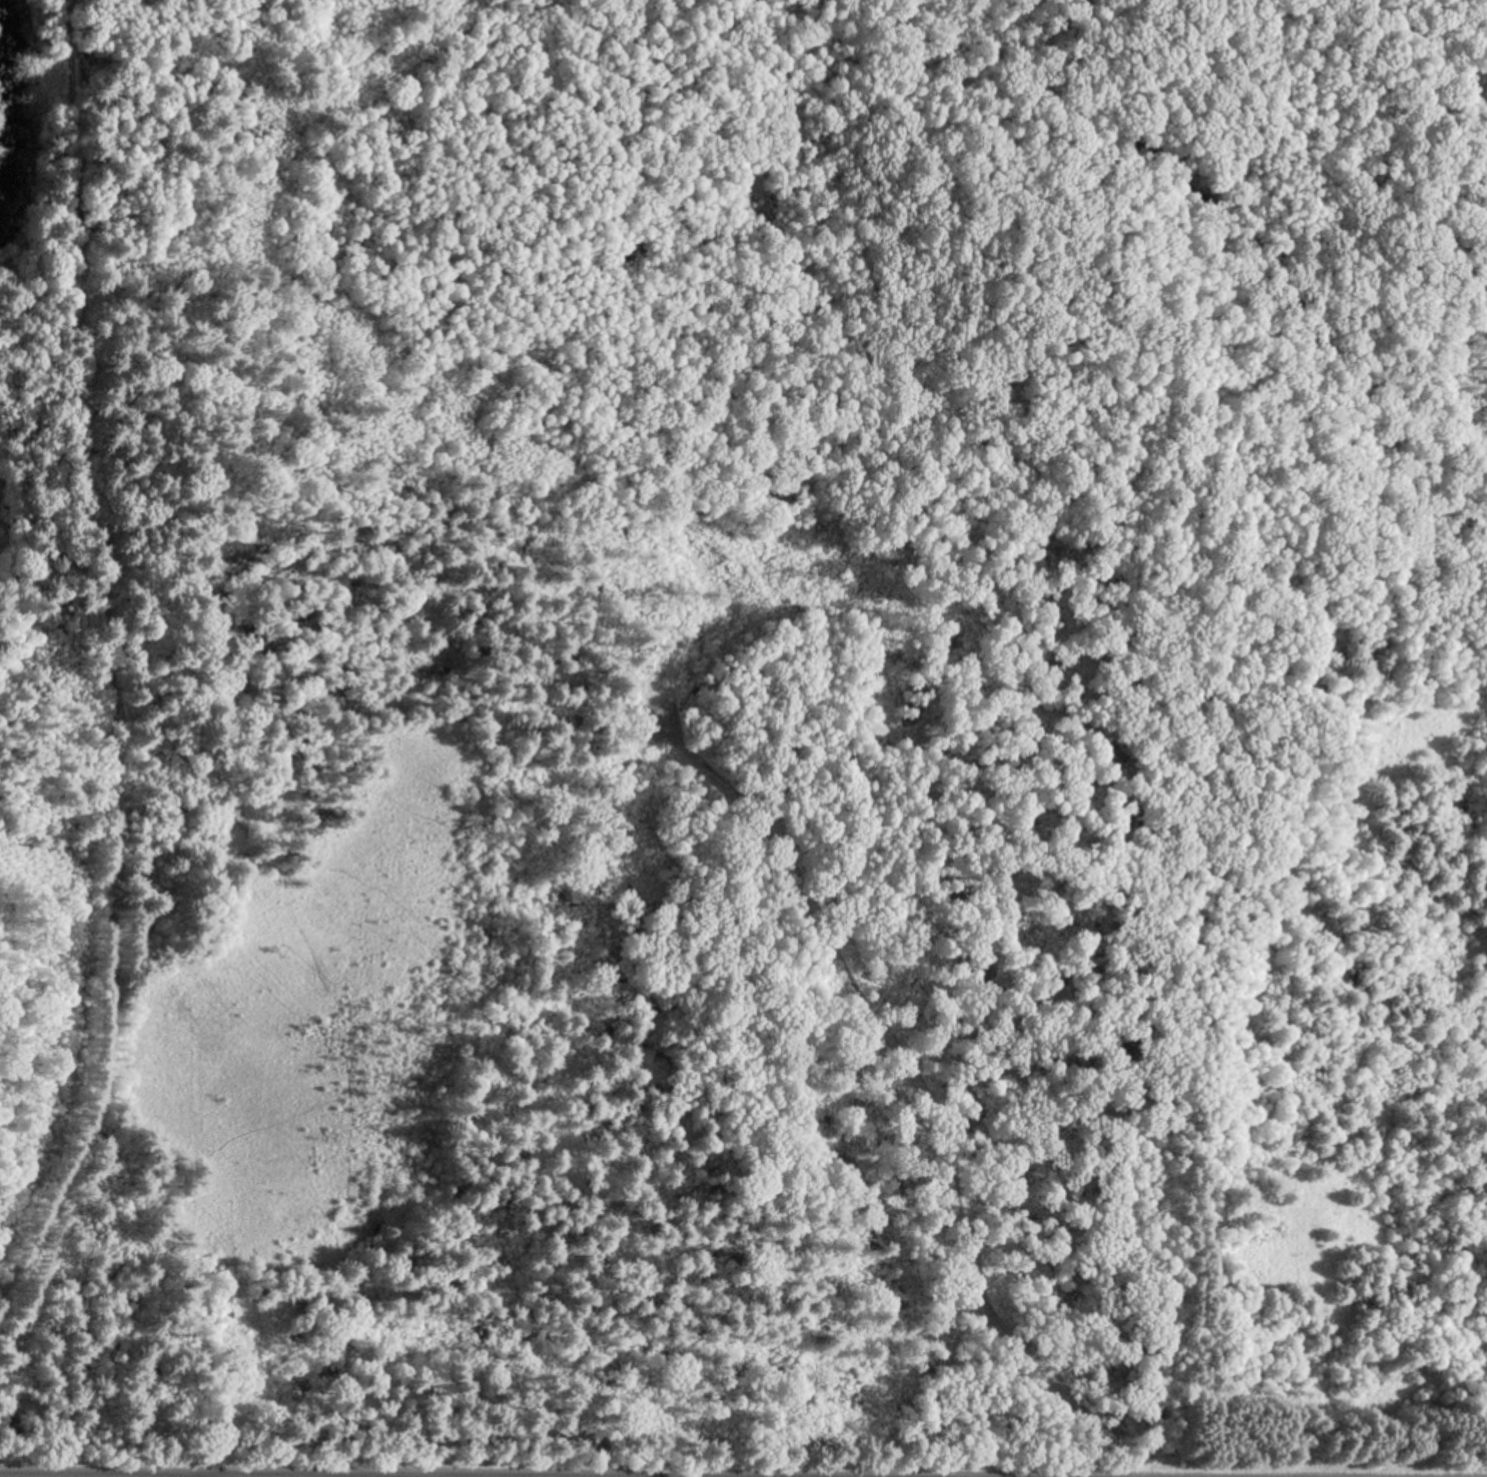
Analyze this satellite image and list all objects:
road: (121, 1475)

